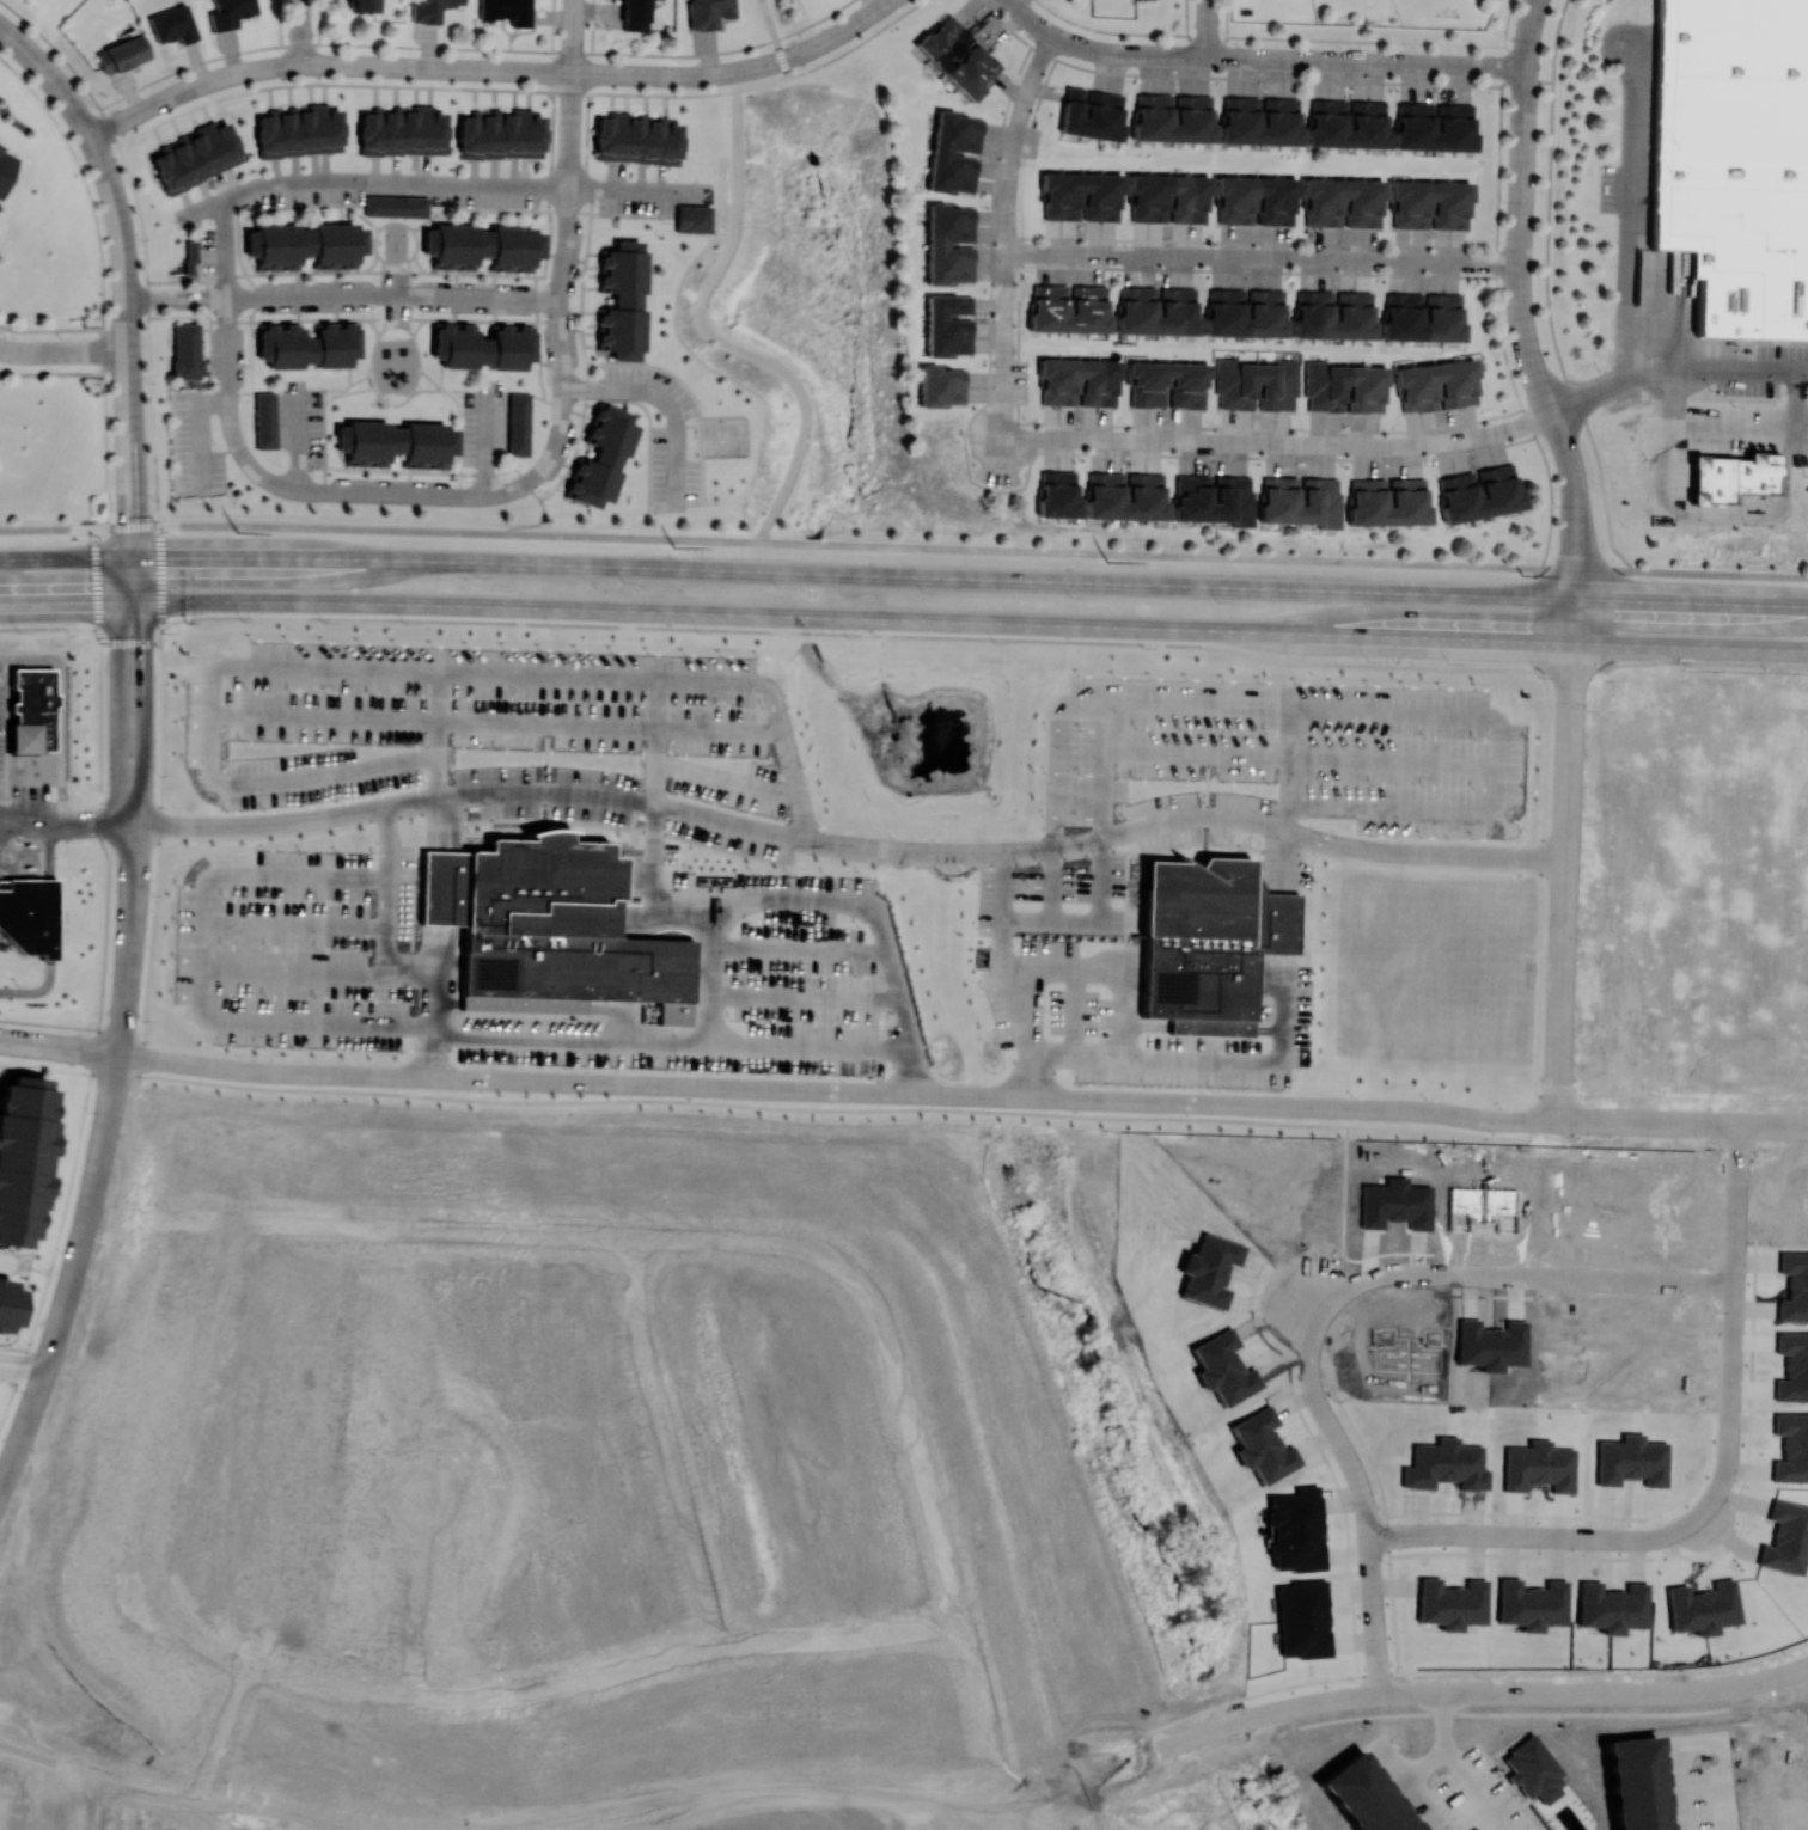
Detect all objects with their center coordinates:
building: (361, 5)
road: (880, 6)
building: (429, 10)
building: (506, 11)
building: (230, 12)
building: (707, 12)
building: (634, 14)
building: (173, 24)
road: (1209, 27)
road: (847, 29)
road: (304, 32)
road: (1529, 32)
road: (1155, 33)
road: (573, 36)
road: (1065, 39)
building: (122, 54)
road: (793, 55)
building: (958, 56)
road: (1330, 60)
road: (741, 69)
road: (561, 71)
road: (240, 73)
road: (51, 76)
building: (1092, 112)
building: (1172, 117)
road: (1525, 117)
building: (1260, 120)
building: (1348, 123)
building: (1435, 126)
building: (299, 130)
building: (402, 130)
building: (500, 134)
building: (636, 139)
building: (954, 152)
building: (196, 155)
road: (1010, 159)
building: (1734, 159)
building: (5, 167)
road: (369, 179)
road: (568, 185)
road: (635, 188)
building: (1081, 196)
building: (1168, 198)
building: (1256, 200)
building: (1343, 202)
building: (1431, 204)
building: (395, 206)
road: (1629, 216)
building: (692, 218)
building: (304, 244)
building: (949, 244)
building: (483, 245)
road: (226, 247)
building: (190, 256)
road: (1521, 256)
road: (1264, 257)
road: (716, 277)
road: (343, 294)
building: (1091, 298)
building: (623, 300)
building: (1179, 300)
building: (1246, 312)
building: (1334, 314)
building: (1423, 316)
road: (1004, 317)
road: (127, 325)
building: (948, 325)
building: (307, 345)
building: (482, 345)
road: (63, 350)
building: (185, 350)
parking lot: (1760, 371)
road: (1675, 372)
building: (1080, 381)
building: (1168, 384)
building: (941, 385)
building: (1257, 385)
building: (1437, 385)
building: (1344, 387)
road: (1003, 391)
road: (1795, 399)
road: (667, 402)
building: (265, 420)
building: (518, 423)
road: (1556, 424)
road: (1736, 426)
road: (198, 432)
parking lot: (1796, 435)
park: (723, 440)
road: (298, 441)
building: (396, 442)
road: (1278, 443)
road: (485, 445)
road: (1663, 446)
building: (601, 457)
building: (1731, 476)
building: (1057, 492)
building: (1478, 492)
road: (397, 494)
building: (1124, 495)
building: (1213, 498)
building: (1300, 500)
building: (1388, 501)
road: (1771, 515)
power tower: (237, 531)
road: (1578, 534)
road: (133, 538)
road: (904, 545)
power tower: (676, 546)
road: (66, 557)
traffic signals: (133, 557)
power tower: (1107, 559)
road: (855, 573)
power tower: (1522, 574)
road: (1578, 590)
road: (1693, 600)
road: (71, 601)
traffic signals: (120, 601)
traffic signals: (142, 601)
road: (860, 616)
road: (892, 635)
road: (1692, 645)
road: (1576, 647)
road: (224, 669)
road: (610, 677)
road: (120, 691)
road: (142, 691)
building: (32, 710)
road: (1370, 710)
road: (776, 711)
road: (65, 712)
road: (499, 723)
fountain: (930, 749)
road: (1289, 757)
road: (1300, 759)
road: (1100, 771)
road: (727, 778)
road: (784, 831)
road: (1282, 861)
road: (157, 868)
road: (440, 885)
road: (1566, 898)
road: (802, 901)
building: (29, 913)
road: (293, 924)
road: (1095, 924)
building: (549, 929)
building: (1208, 942)
road: (383, 966)
road: (198, 972)
road: (710, 973)
road: (291, 975)
road: (1003, 979)
road: (1074, 1010)
road: (97, 1036)
road: (670, 1041)
road: (45, 1046)
road: (104, 1053)
road: (1077, 1053)
road: (1147, 1054)
road: (132, 1055)
road: (544, 1081)
road: (948, 1095)
road: (983, 1096)
road: (1065, 1097)
road: (762, 1107)
road: (1338, 1107)
road: (1682, 1124)
building: (24, 1156)
road: (99, 1163)
road: (1345, 1191)
road: (1520, 1274)
building: (8, 1302)
road: (1734, 1322)
road: (24, 1355)
building: (1792, 1366)
road: (20, 1372)
building: (1791, 1448)
building: (1631, 1459)
building: (1538, 1467)
road: (1366, 1497)
road: (1539, 1536)
building: (1785, 1537)
building: (1450, 1602)
building: (1531, 1603)
building: (1611, 1605)
building: (1702, 1606)
building: (1301, 1618)
road: (1553, 1696)
road: (1279, 1710)
road: (1222, 1728)
park: (0, 1736)
road: (51, 1744)
road: (1171, 1745)
road: (50, 1751)
road: (1119, 1765)
road: (1449, 1767)
road: (1662, 1782)
road: (1065, 1785)
road: (755, 1788)
road: (1050, 1788)
road: (212, 1803)
road: (1036, 1826)
road: (549, 1829)

